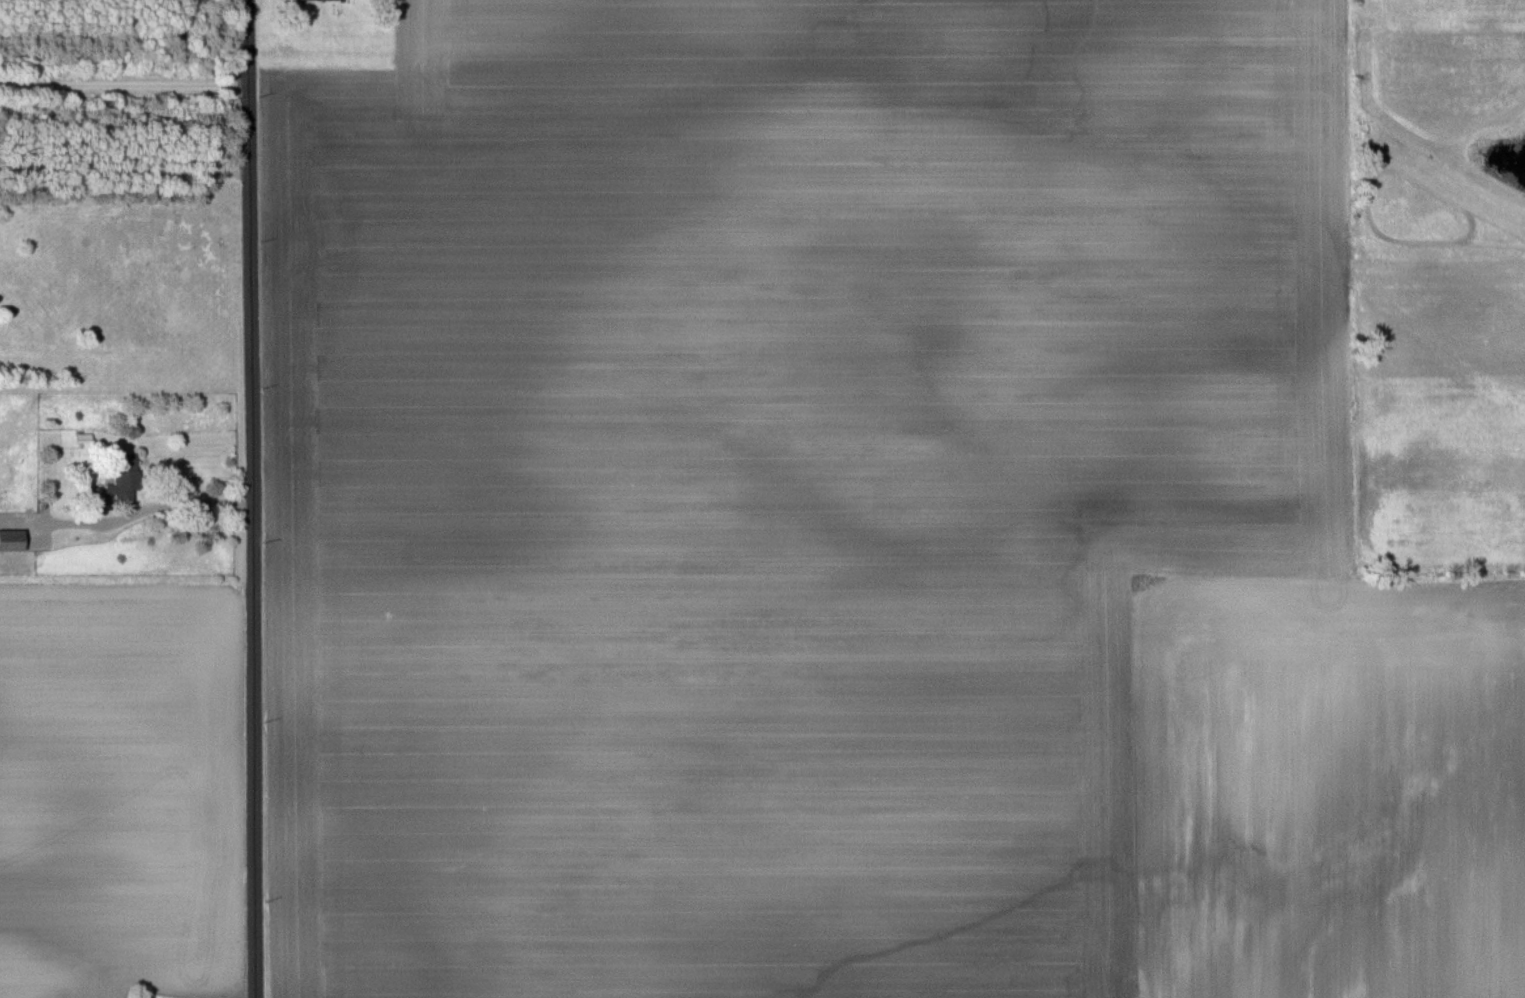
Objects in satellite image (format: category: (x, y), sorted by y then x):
road: (123, 85)
road: (124, 170)
building: (118, 480)
road: (251, 498)
road: (171, 505)
building: (11, 539)

